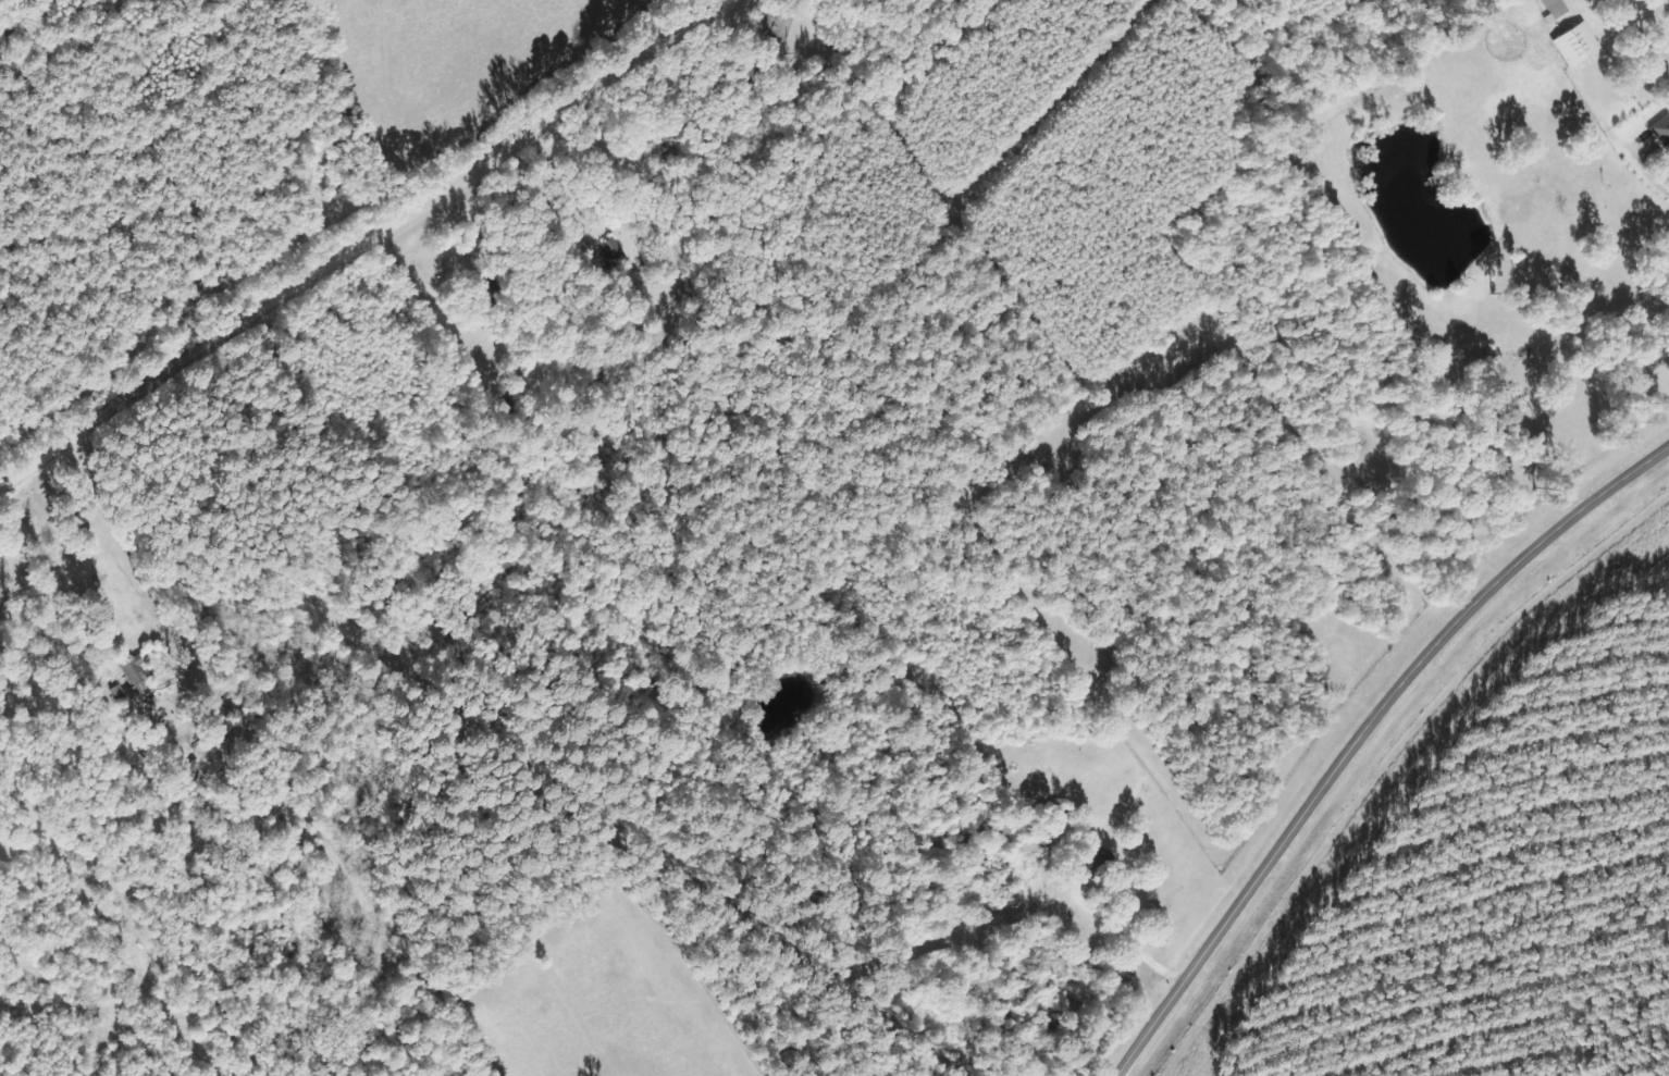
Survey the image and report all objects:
building: (1554, 10)
building: (1575, 45)
building: (1661, 133)
road: (384, 250)
building: (134, 675)
road: (1364, 735)

